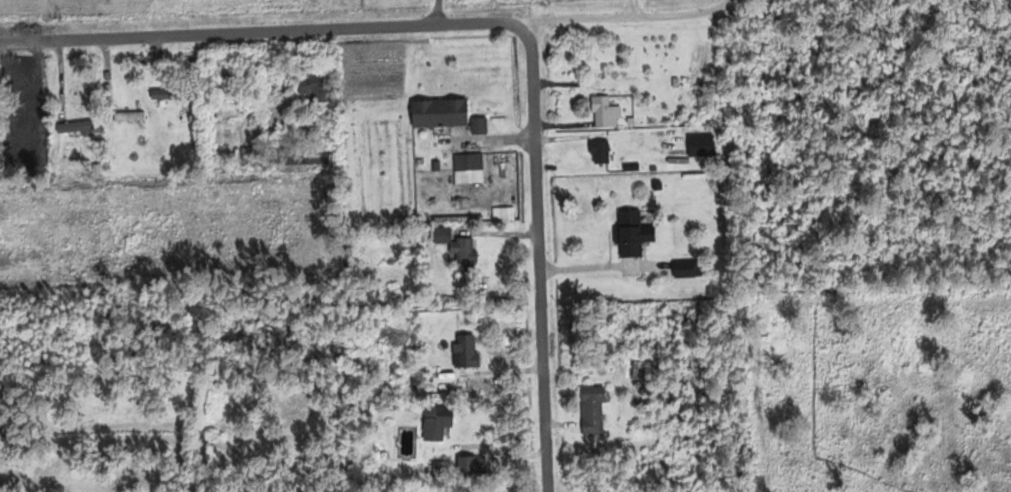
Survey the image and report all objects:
road: (623, 16)
road: (295, 29)
building: (316, 86)
building: (171, 94)
building: (440, 113)
building: (604, 113)
building: (128, 116)
building: (478, 126)
building: (700, 145)
building: (600, 151)
building: (250, 154)
building: (75, 156)
building: (468, 169)
building: (503, 213)
building: (632, 234)
building: (458, 251)
road: (539, 293)
building: (466, 351)
building: (642, 370)
building: (592, 411)
building: (437, 421)
building: (471, 467)

